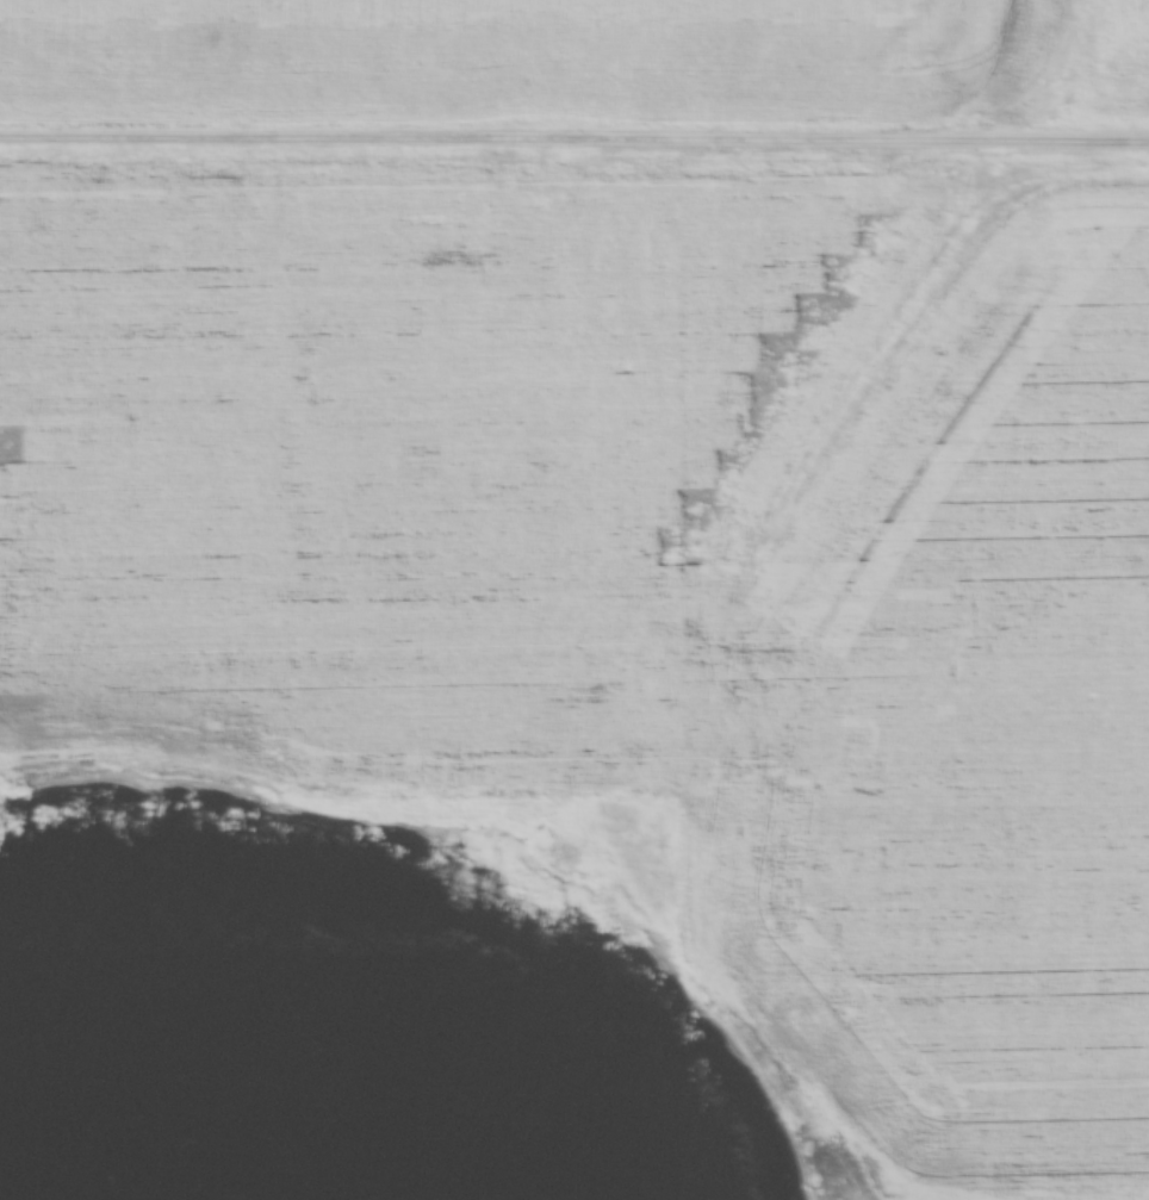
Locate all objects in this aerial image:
road: (574, 133)

